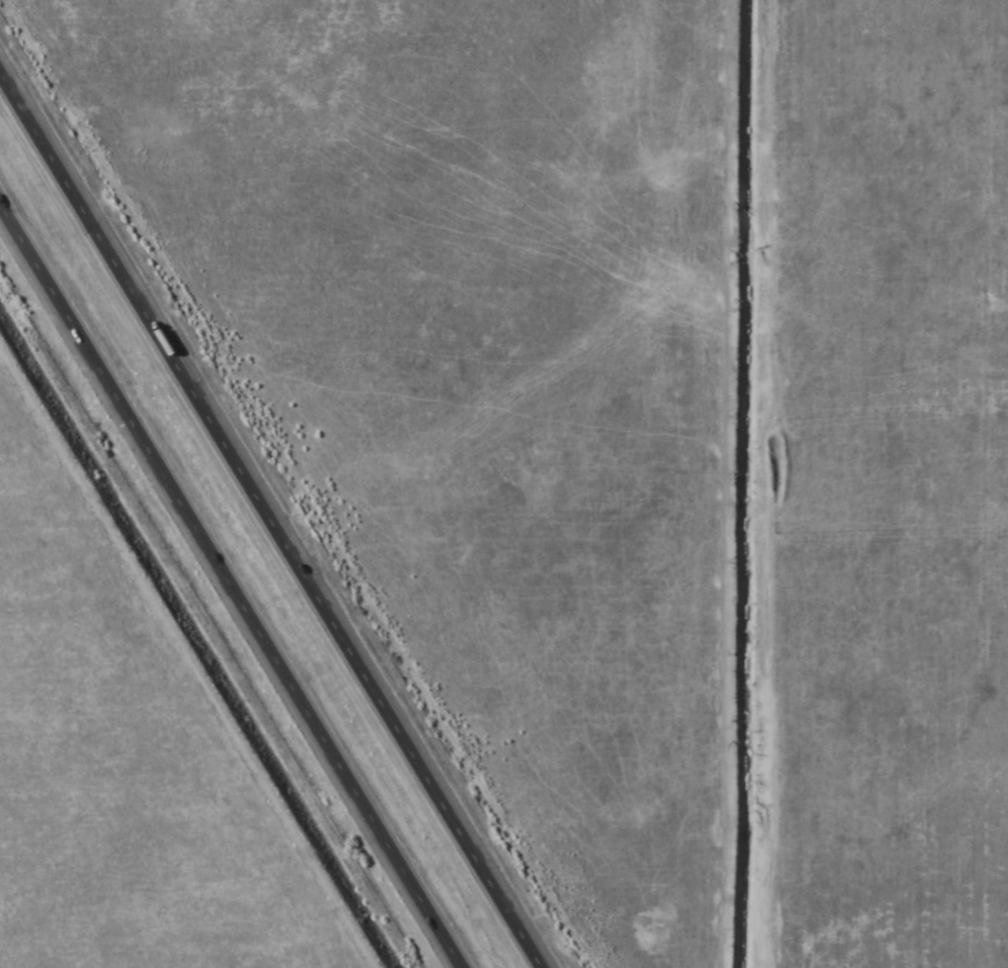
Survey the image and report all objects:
road: (271, 518)
road: (231, 585)

